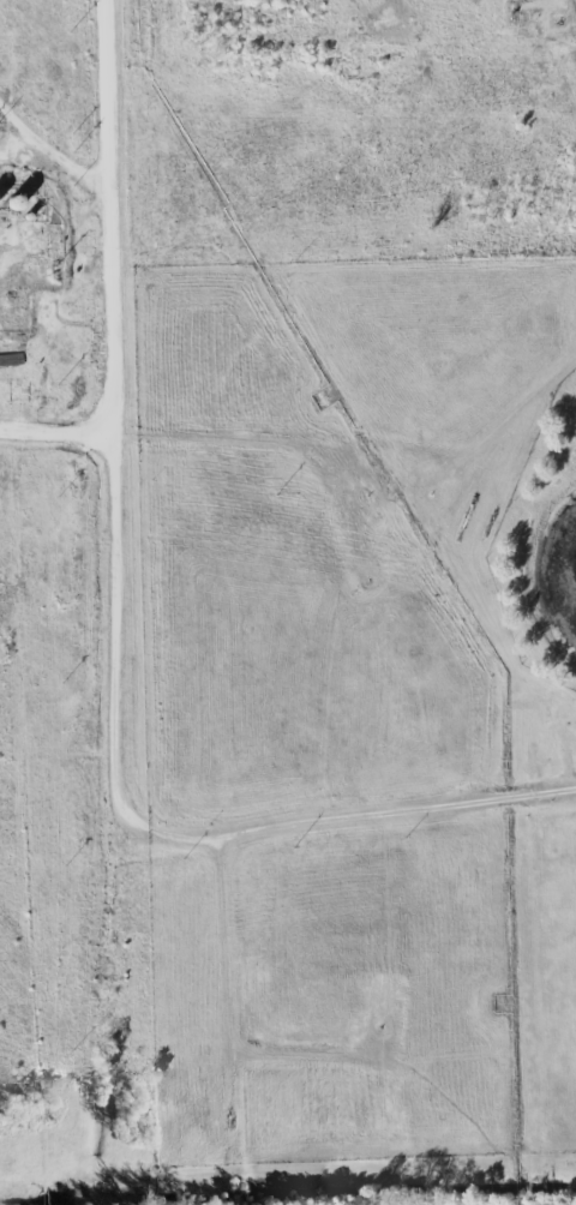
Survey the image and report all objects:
road: (113, 217)
road: (56, 431)
road: (236, 438)
road: (161, 831)
road: (232, 1011)

